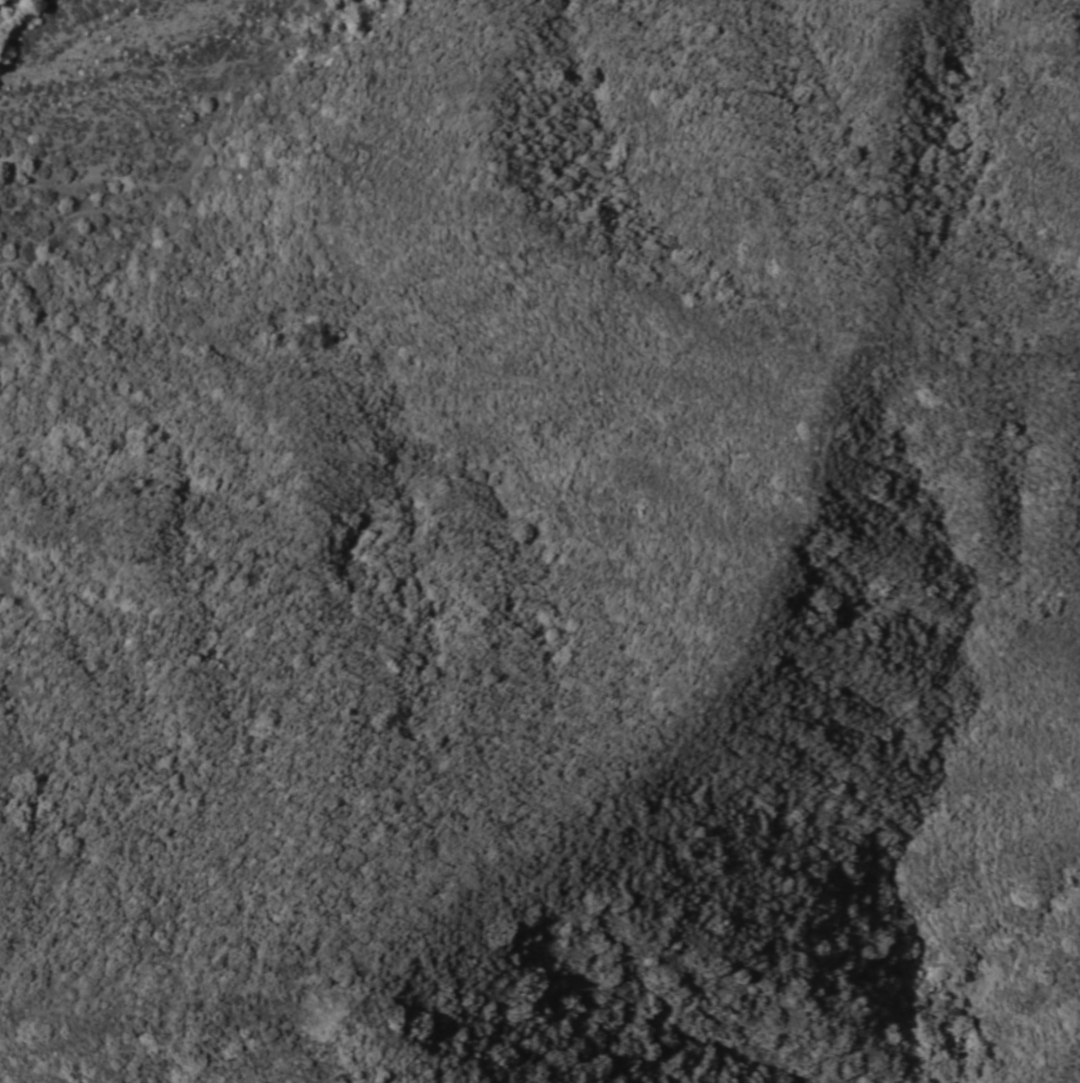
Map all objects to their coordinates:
river: (17, 20)
road: (319, 1057)

